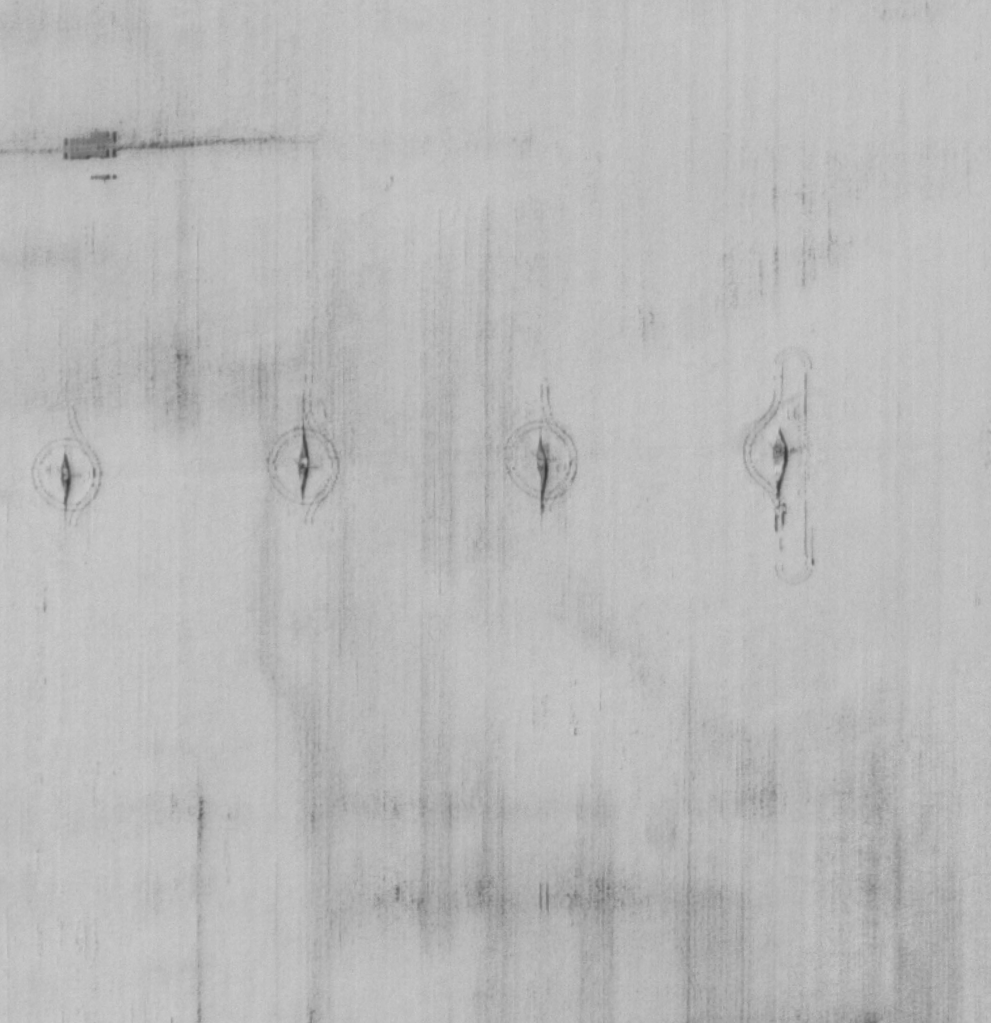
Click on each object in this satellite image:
crop: (495, 511)

